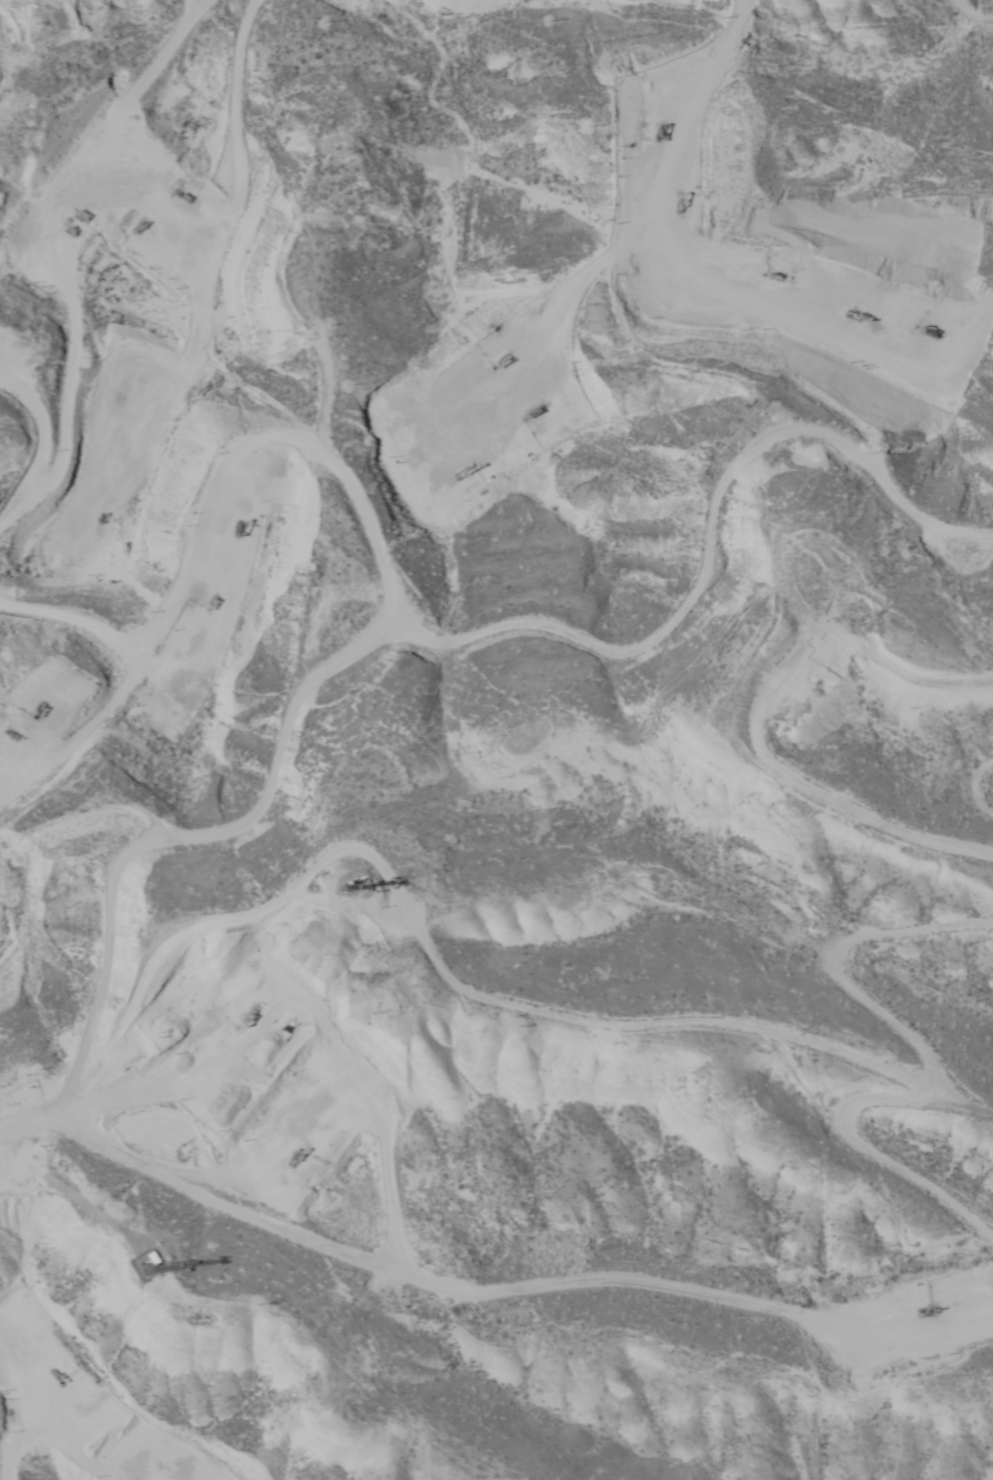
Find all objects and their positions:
road: (725, 6)
road: (961, 26)
road: (409, 32)
road: (739, 68)
road: (699, 155)
road: (259, 290)
road: (420, 610)
road: (105, 649)
road: (866, 945)
road: (575, 985)
road: (481, 1295)

